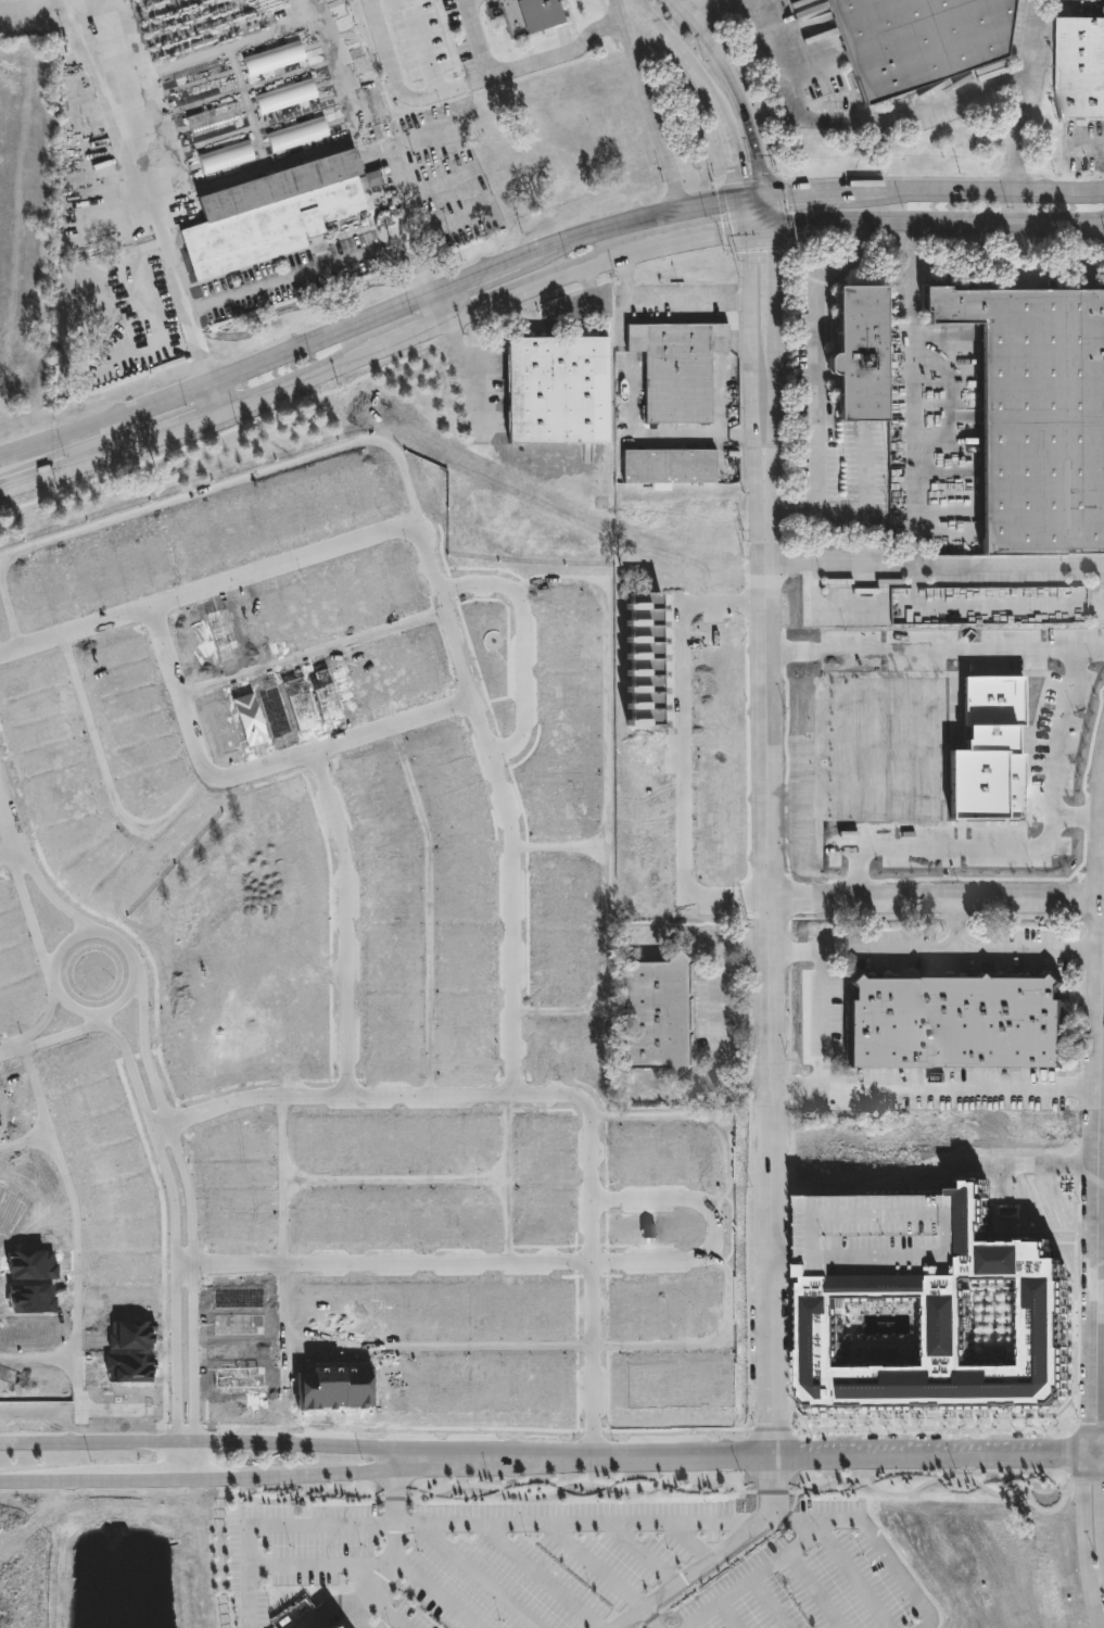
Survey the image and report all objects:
road: (695, 9)
building: (526, 16)
road: (477, 39)
building: (912, 40)
road: (428, 53)
road: (558, 56)
building: (1079, 68)
road: (399, 87)
road: (736, 88)
road: (1021, 97)
road: (646, 103)
road: (714, 104)
road: (850, 127)
road: (136, 165)
road: (813, 191)
road: (982, 193)
traffic signals: (765, 194)
traffic signals: (743, 198)
road: (767, 213)
building: (268, 215)
road: (936, 227)
traffic signals: (770, 231)
road: (758, 232)
traffic signals: (747, 234)
road: (699, 241)
road: (289, 278)
road: (668, 300)
road: (379, 306)
road: (435, 307)
building: (854, 354)
road: (773, 358)
road: (718, 359)
road: (752, 359)
building: (675, 369)
road: (326, 370)
road: (819, 377)
road: (215, 390)
building: (555, 391)
road: (635, 399)
building: (1036, 417)
road: (736, 431)
road: (16, 463)
building: (667, 467)
road: (916, 490)
road: (196, 494)
road: (837, 516)
road: (842, 569)
road: (210, 588)
road: (523, 645)
road: (314, 654)
building: (45, 673)
road: (179, 694)
building: (2, 734)
road: (344, 742)
road: (694, 757)
road: (110, 780)
road: (772, 787)
road: (607, 796)
road: (504, 806)
road: (8, 823)
road: (560, 846)
road: (8, 853)
road: (52, 895)
road: (938, 899)
road: (431, 908)
road: (31, 913)
road: (346, 922)
road: (956, 924)
road: (939, 948)
road: (117, 1007)
road: (710, 1011)
building: (663, 1014)
road: (823, 1020)
road: (40, 1021)
building: (955, 1023)
road: (59, 1037)
road: (8, 1051)
road: (1102, 1089)
road: (937, 1091)
road: (379, 1097)
road: (45, 1116)
road: (705, 1118)
road: (990, 1168)
road: (437, 1179)
road: (1099, 1201)
road: (509, 1221)
road: (193, 1222)
road: (716, 1228)
building: (878, 1236)
parking garage: (878, 1236)
road: (177, 1239)
road: (1101, 1242)
road: (787, 1260)
road: (394, 1264)
road: (773, 1274)
road: (594, 1279)
road: (78, 1280)
building: (944, 1332)
road: (428, 1347)
road: (200, 1441)
road: (1100, 1453)
road: (746, 1455)
road: (200, 1479)
road: (1103, 1484)
road: (568, 1522)
road: (1083, 1539)
road: (689, 1540)
building: (785, 1547)
road: (395, 1548)
road: (642, 1552)
road: (716, 1555)
road: (375, 1565)
parking lot: (588, 1565)
road: (605, 1573)
road: (480, 1575)
road: (541, 1575)
road: (754, 1576)
road: (854, 1578)
road: (813, 1590)
road: (770, 1603)
road: (390, 1613)
road: (728, 1615)
road: (689, 1626)
building: (329, 1627)

